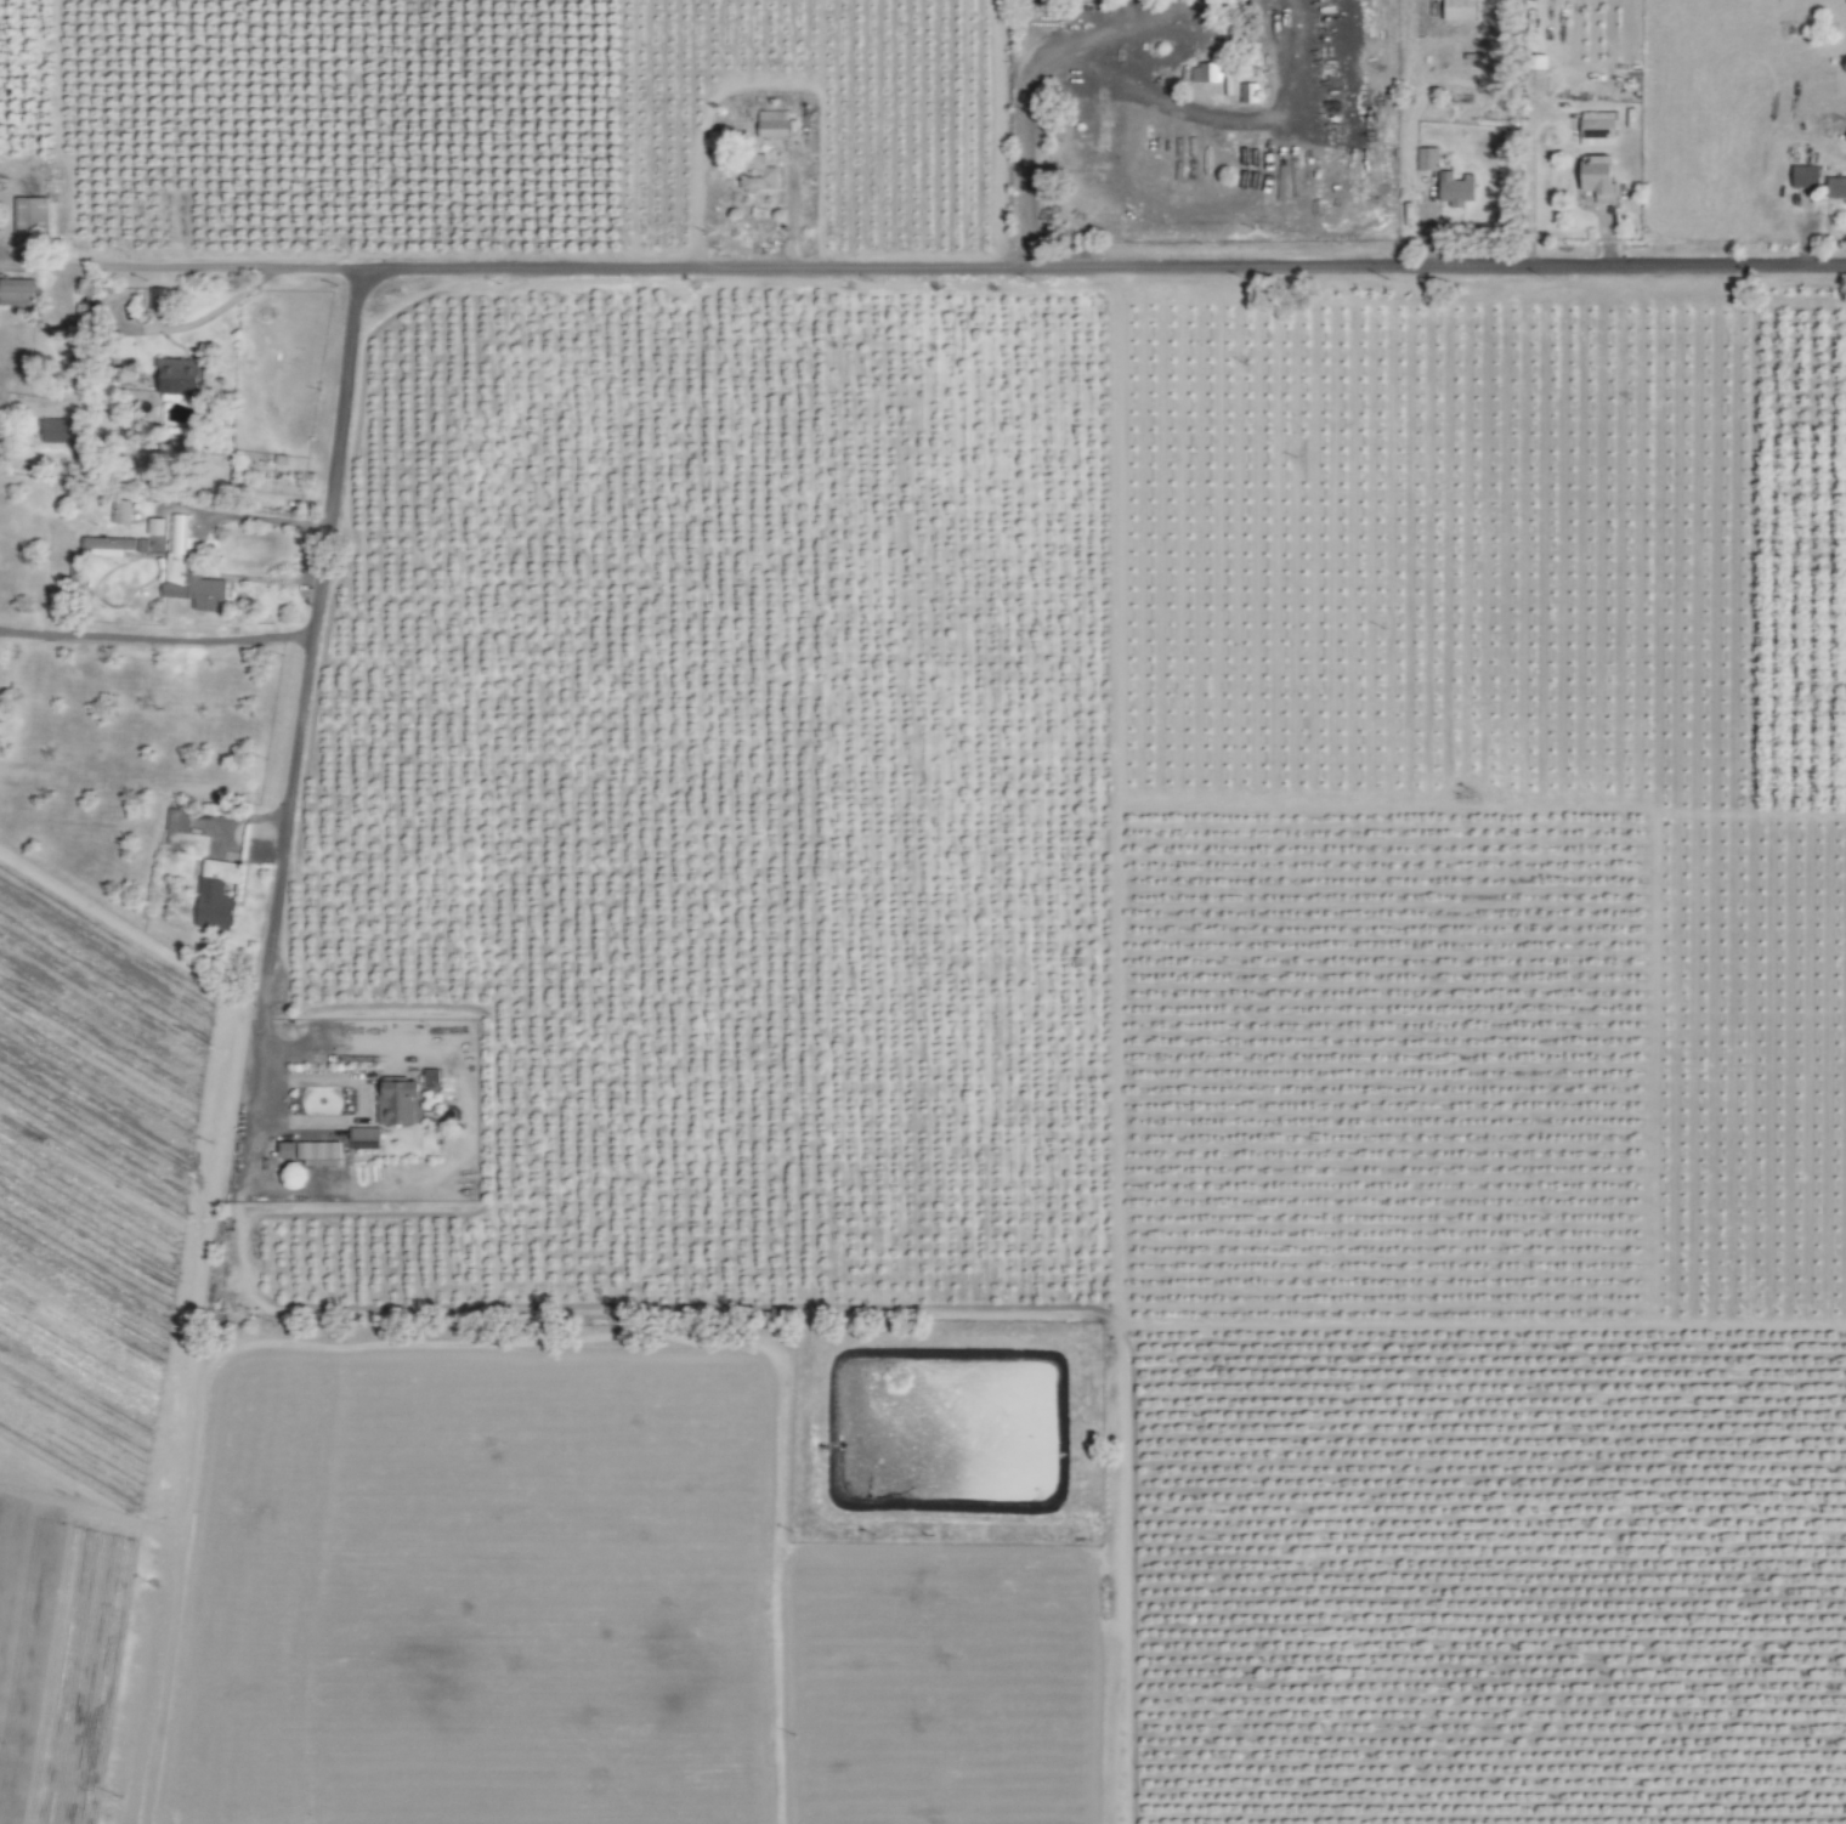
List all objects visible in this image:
building: (1462, 10)
road: (1131, 11)
road: (1205, 41)
building: (1207, 72)
building: (1250, 92)
road: (1020, 114)
road: (1208, 114)
building: (775, 124)
building: (1599, 125)
building: (1429, 158)
building: (758, 172)
building: (1602, 176)
building: (1806, 176)
building: (1836, 186)
building: (1457, 189)
road: (1216, 215)
building: (32, 220)
road: (188, 268)
road: (1110, 268)
building: (18, 291)
road: (220, 310)
building: (182, 376)
building: (55, 430)
building: (121, 511)
road: (259, 519)
building: (157, 526)
building: (117, 545)
building: (189, 571)
road: (154, 635)
road: (307, 641)
building: (216, 894)
building: (398, 1101)
building: (366, 1138)
building: (311, 1150)
road: (438, 1190)
road: (174, 1591)

